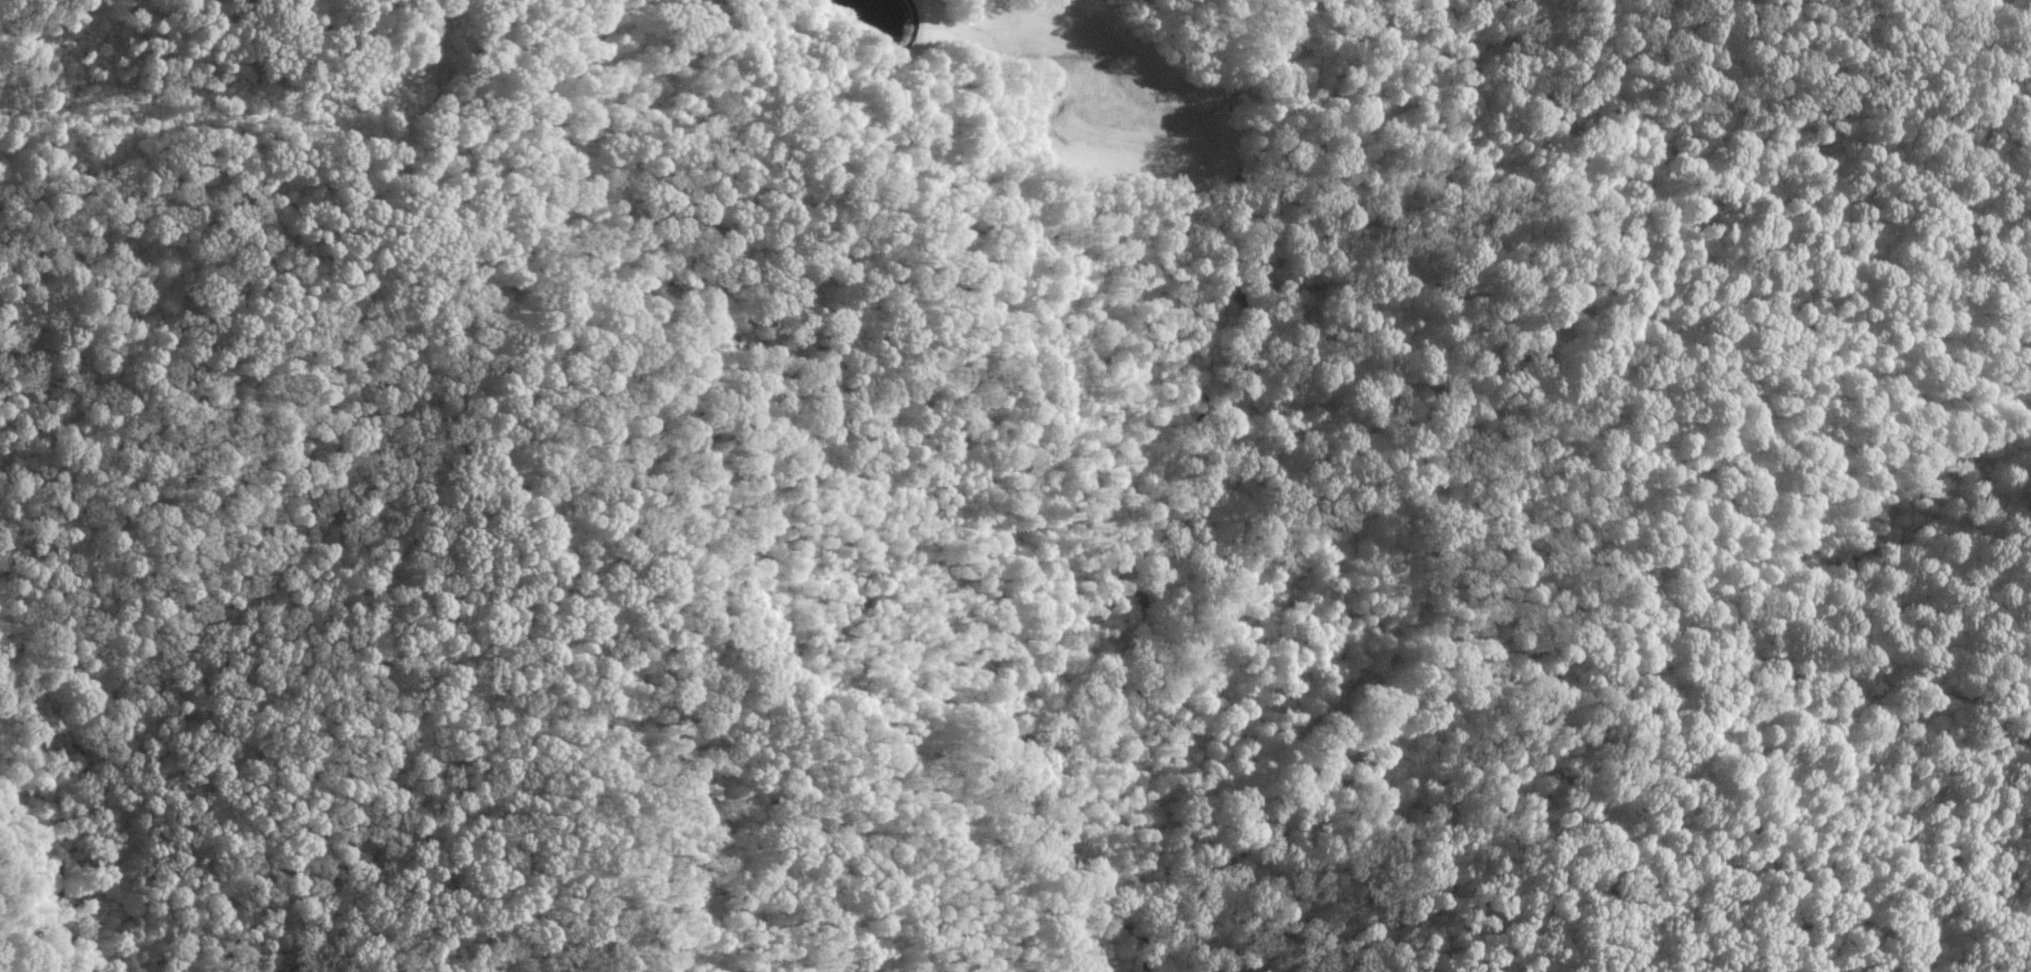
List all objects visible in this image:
road: (1156, 41)
road: (536, 488)

